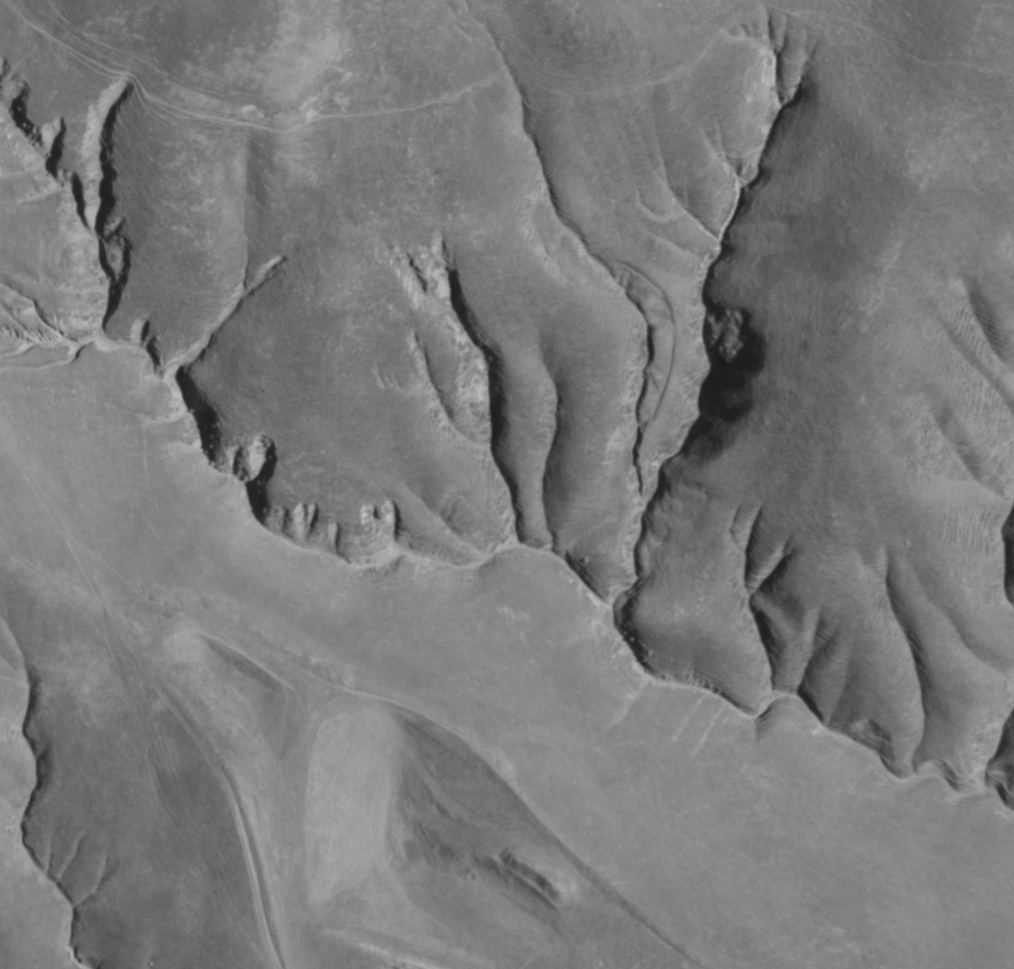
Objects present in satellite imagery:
road: (309, 81)
road: (107, 806)

